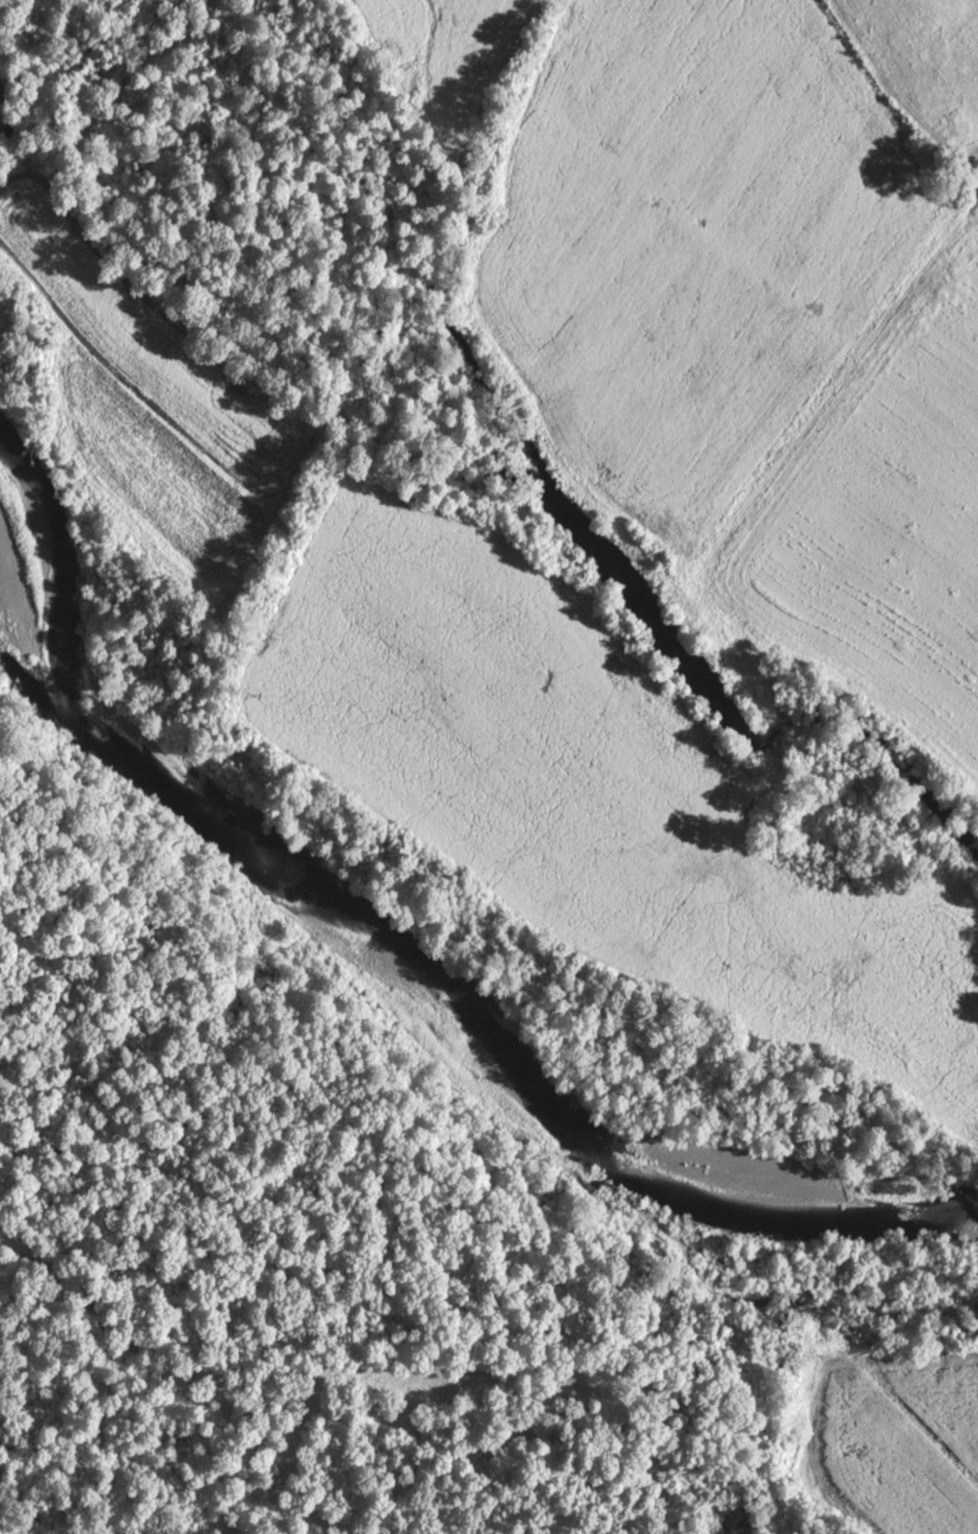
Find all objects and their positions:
river: (390, 962)

